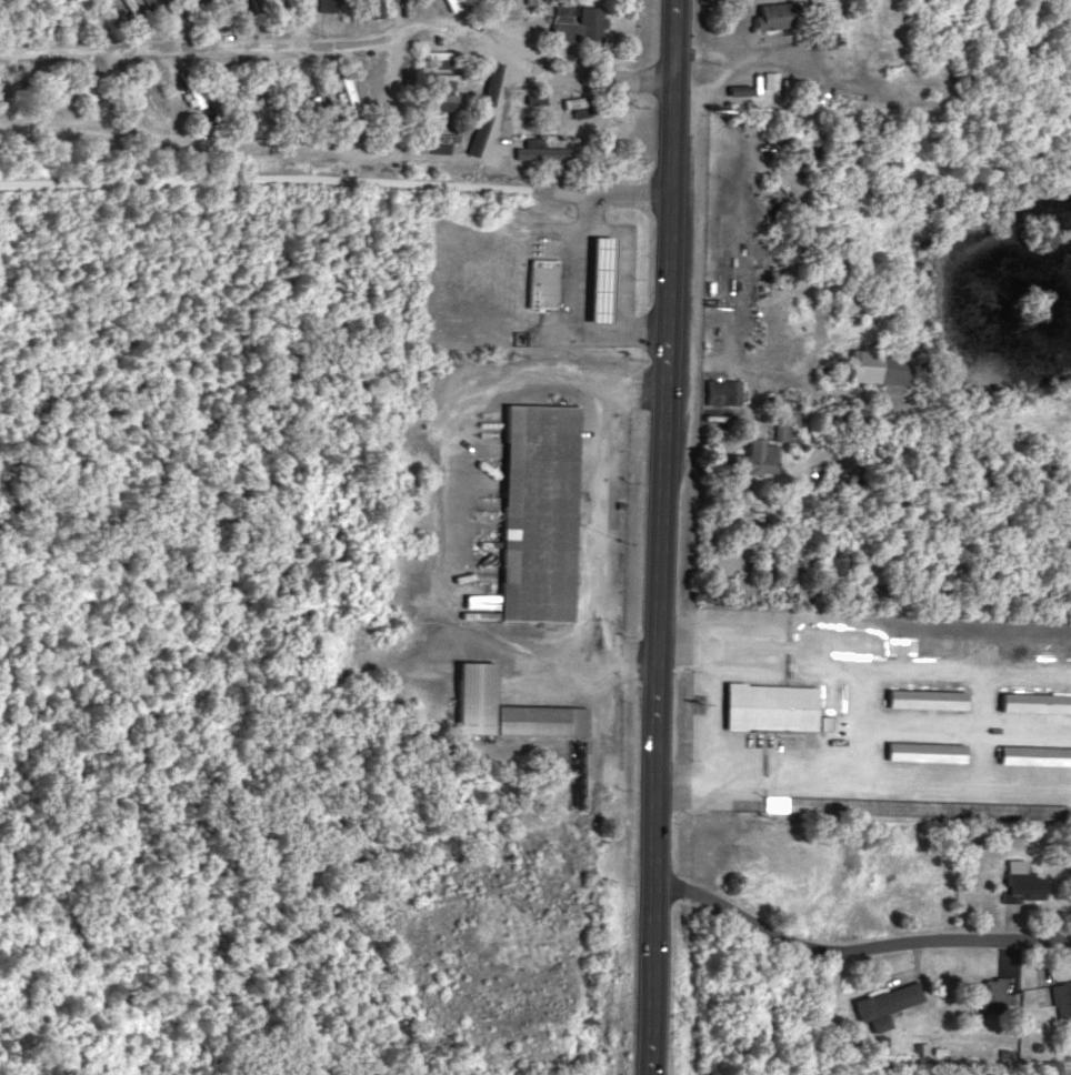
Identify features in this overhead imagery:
building: (447, 1)
building: (329, 4)
building: (370, 7)
building: (219, 10)
building: (774, 14)
building: (577, 22)
building: (820, 39)
road: (323, 42)
building: (442, 53)
building: (316, 79)
building: (447, 79)
building: (768, 79)
building: (189, 87)
building: (348, 93)
building: (533, 98)
building: (443, 100)
building: (579, 104)
road: (392, 106)
road: (198, 140)
building: (440, 140)
building: (540, 149)
road: (336, 180)
building: (598, 277)
building: (540, 281)
building: (877, 364)
building: (722, 390)
building: (783, 419)
building: (755, 455)
building: (537, 511)
road: (598, 524)
road: (664, 537)
building: (837, 566)
building: (925, 697)
building: (1035, 701)
building: (773, 706)
building: (507, 707)
building: (924, 750)
building: (1034, 754)
building: (793, 803)
building: (1021, 881)
road: (858, 952)
building: (990, 994)
building: (1062, 1002)
building: (887, 1003)

